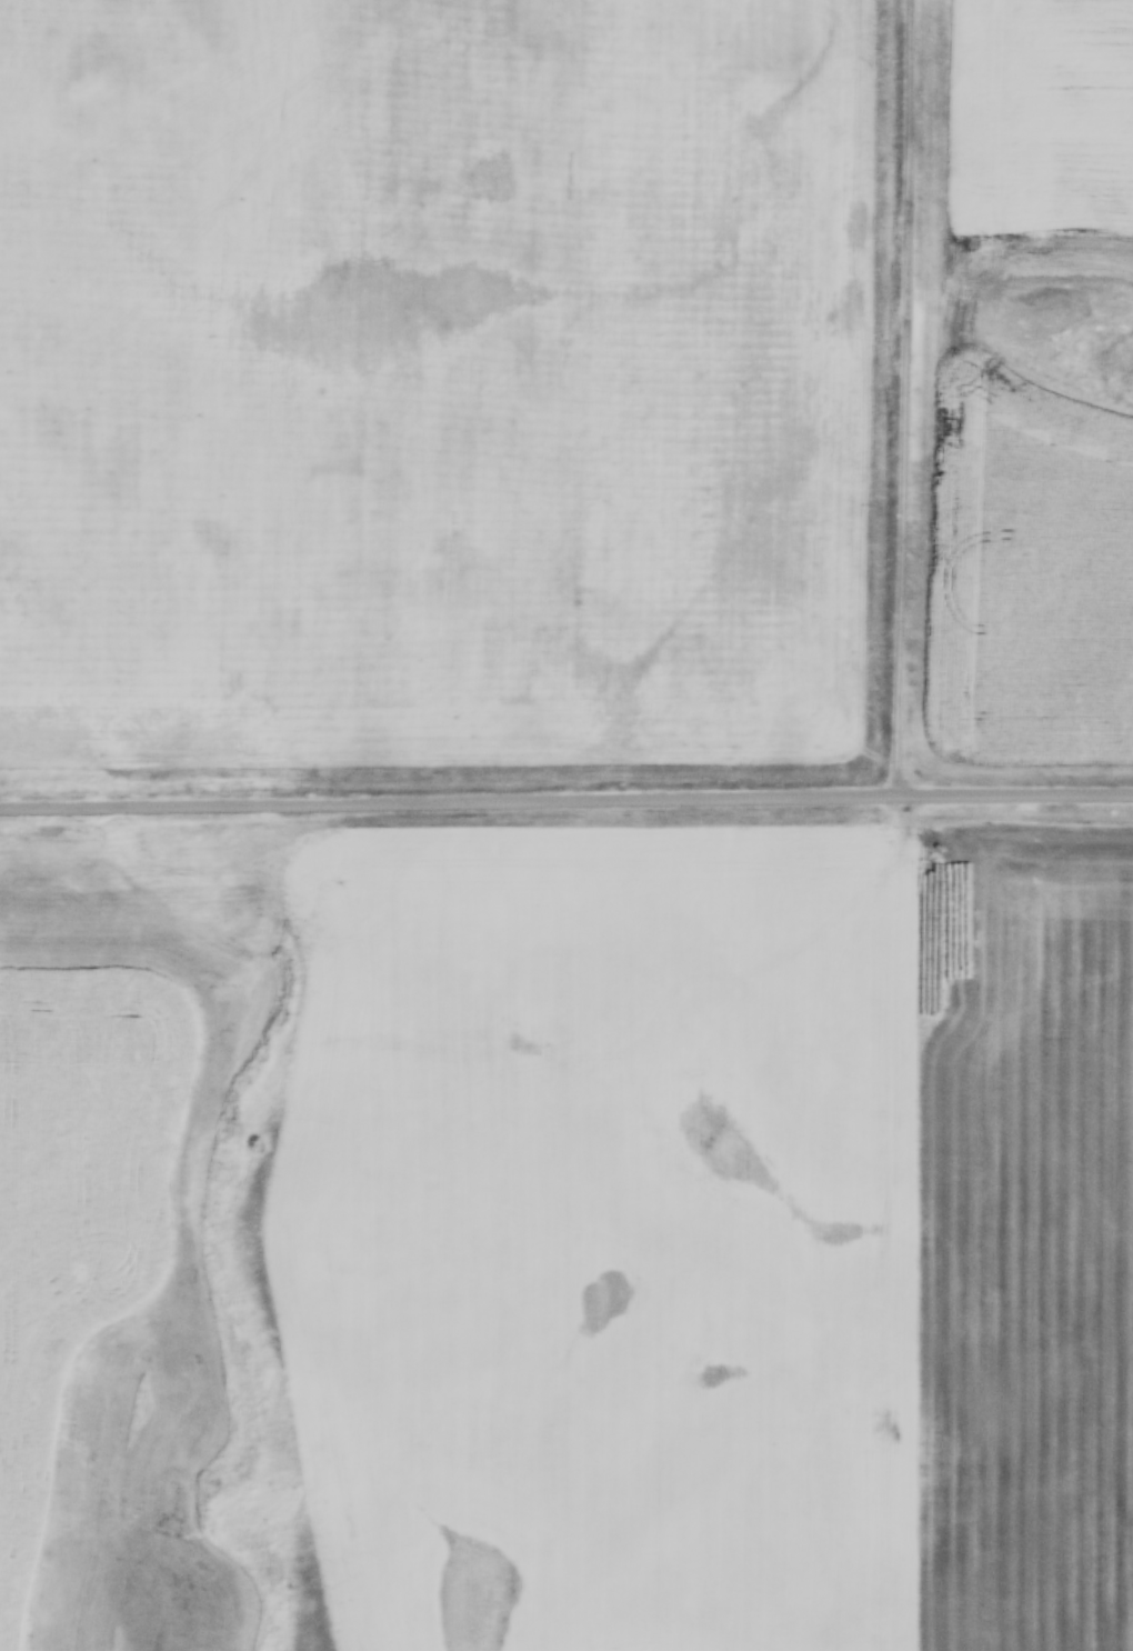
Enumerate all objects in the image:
road: (900, 396)
road: (565, 798)

